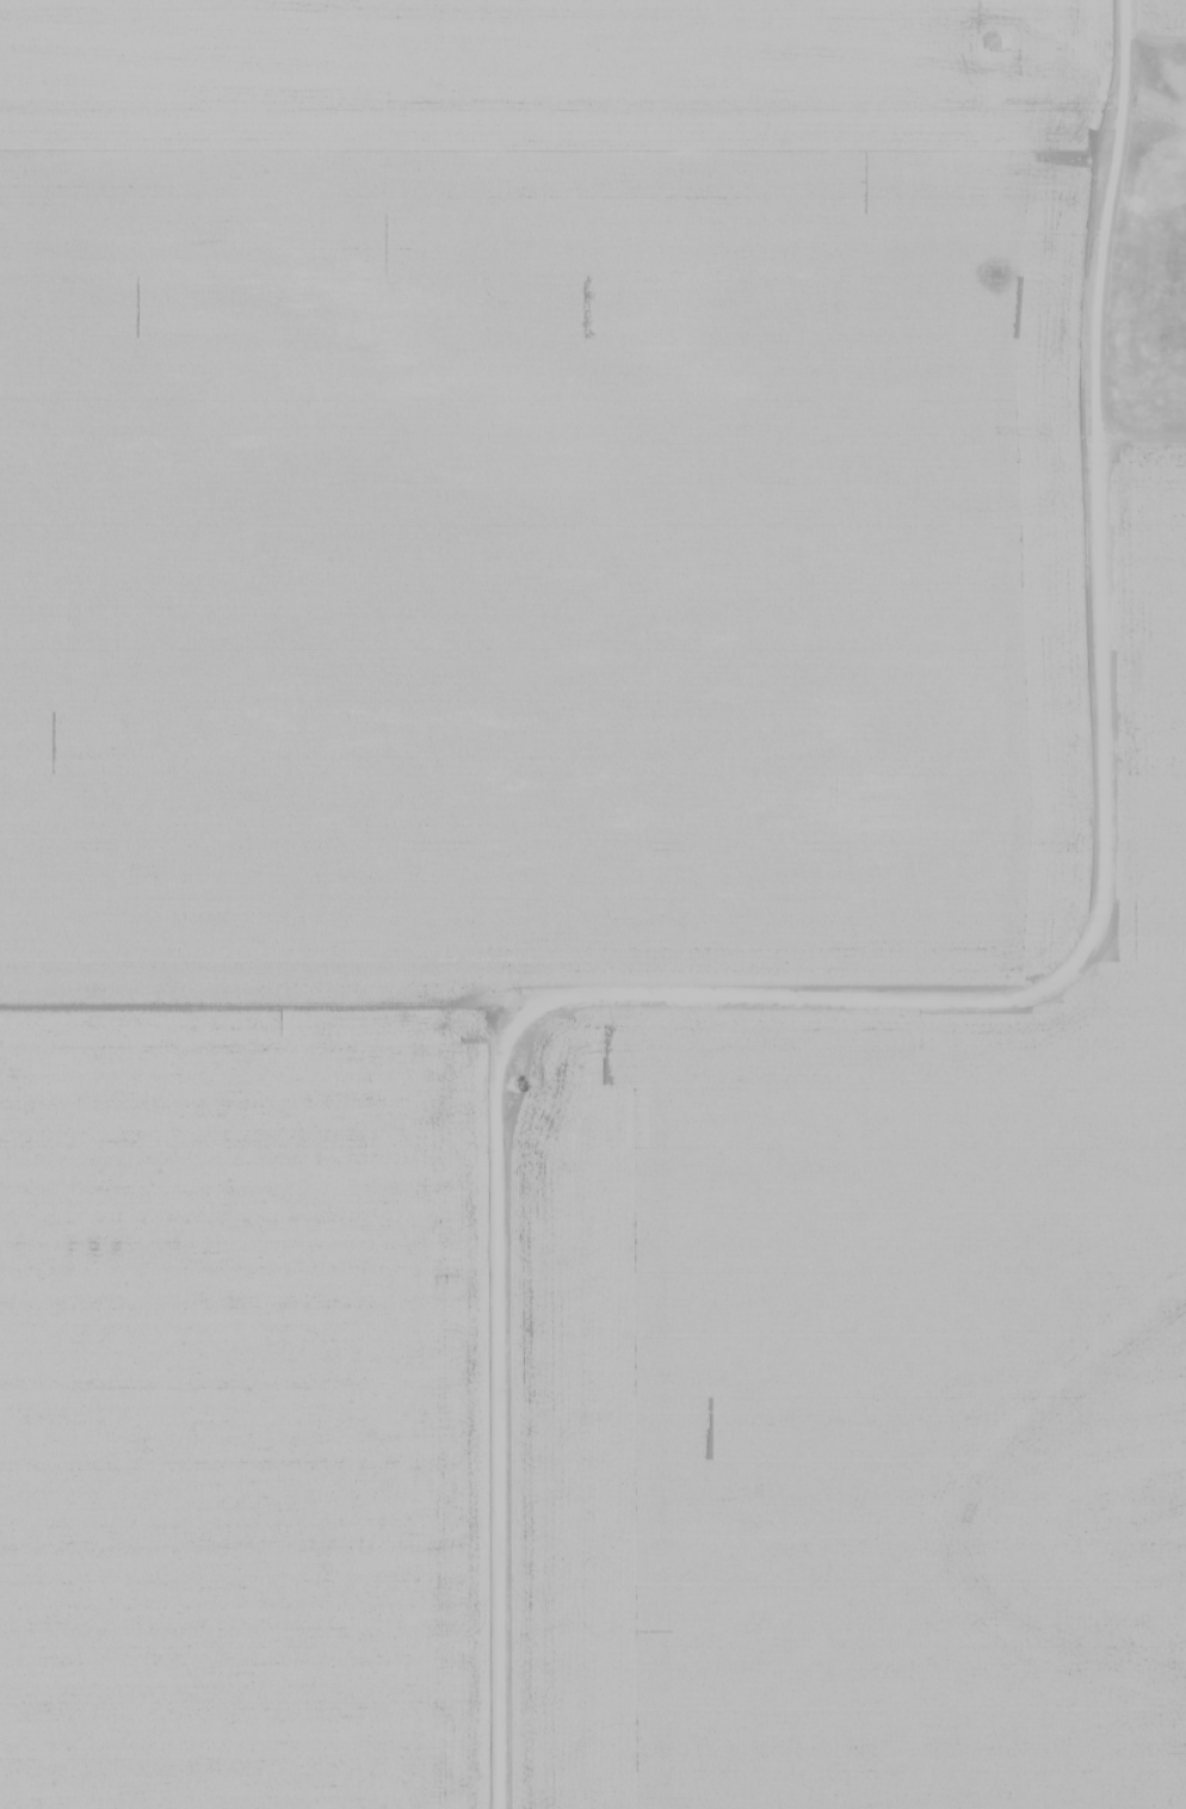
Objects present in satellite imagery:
road: (885, 998)

